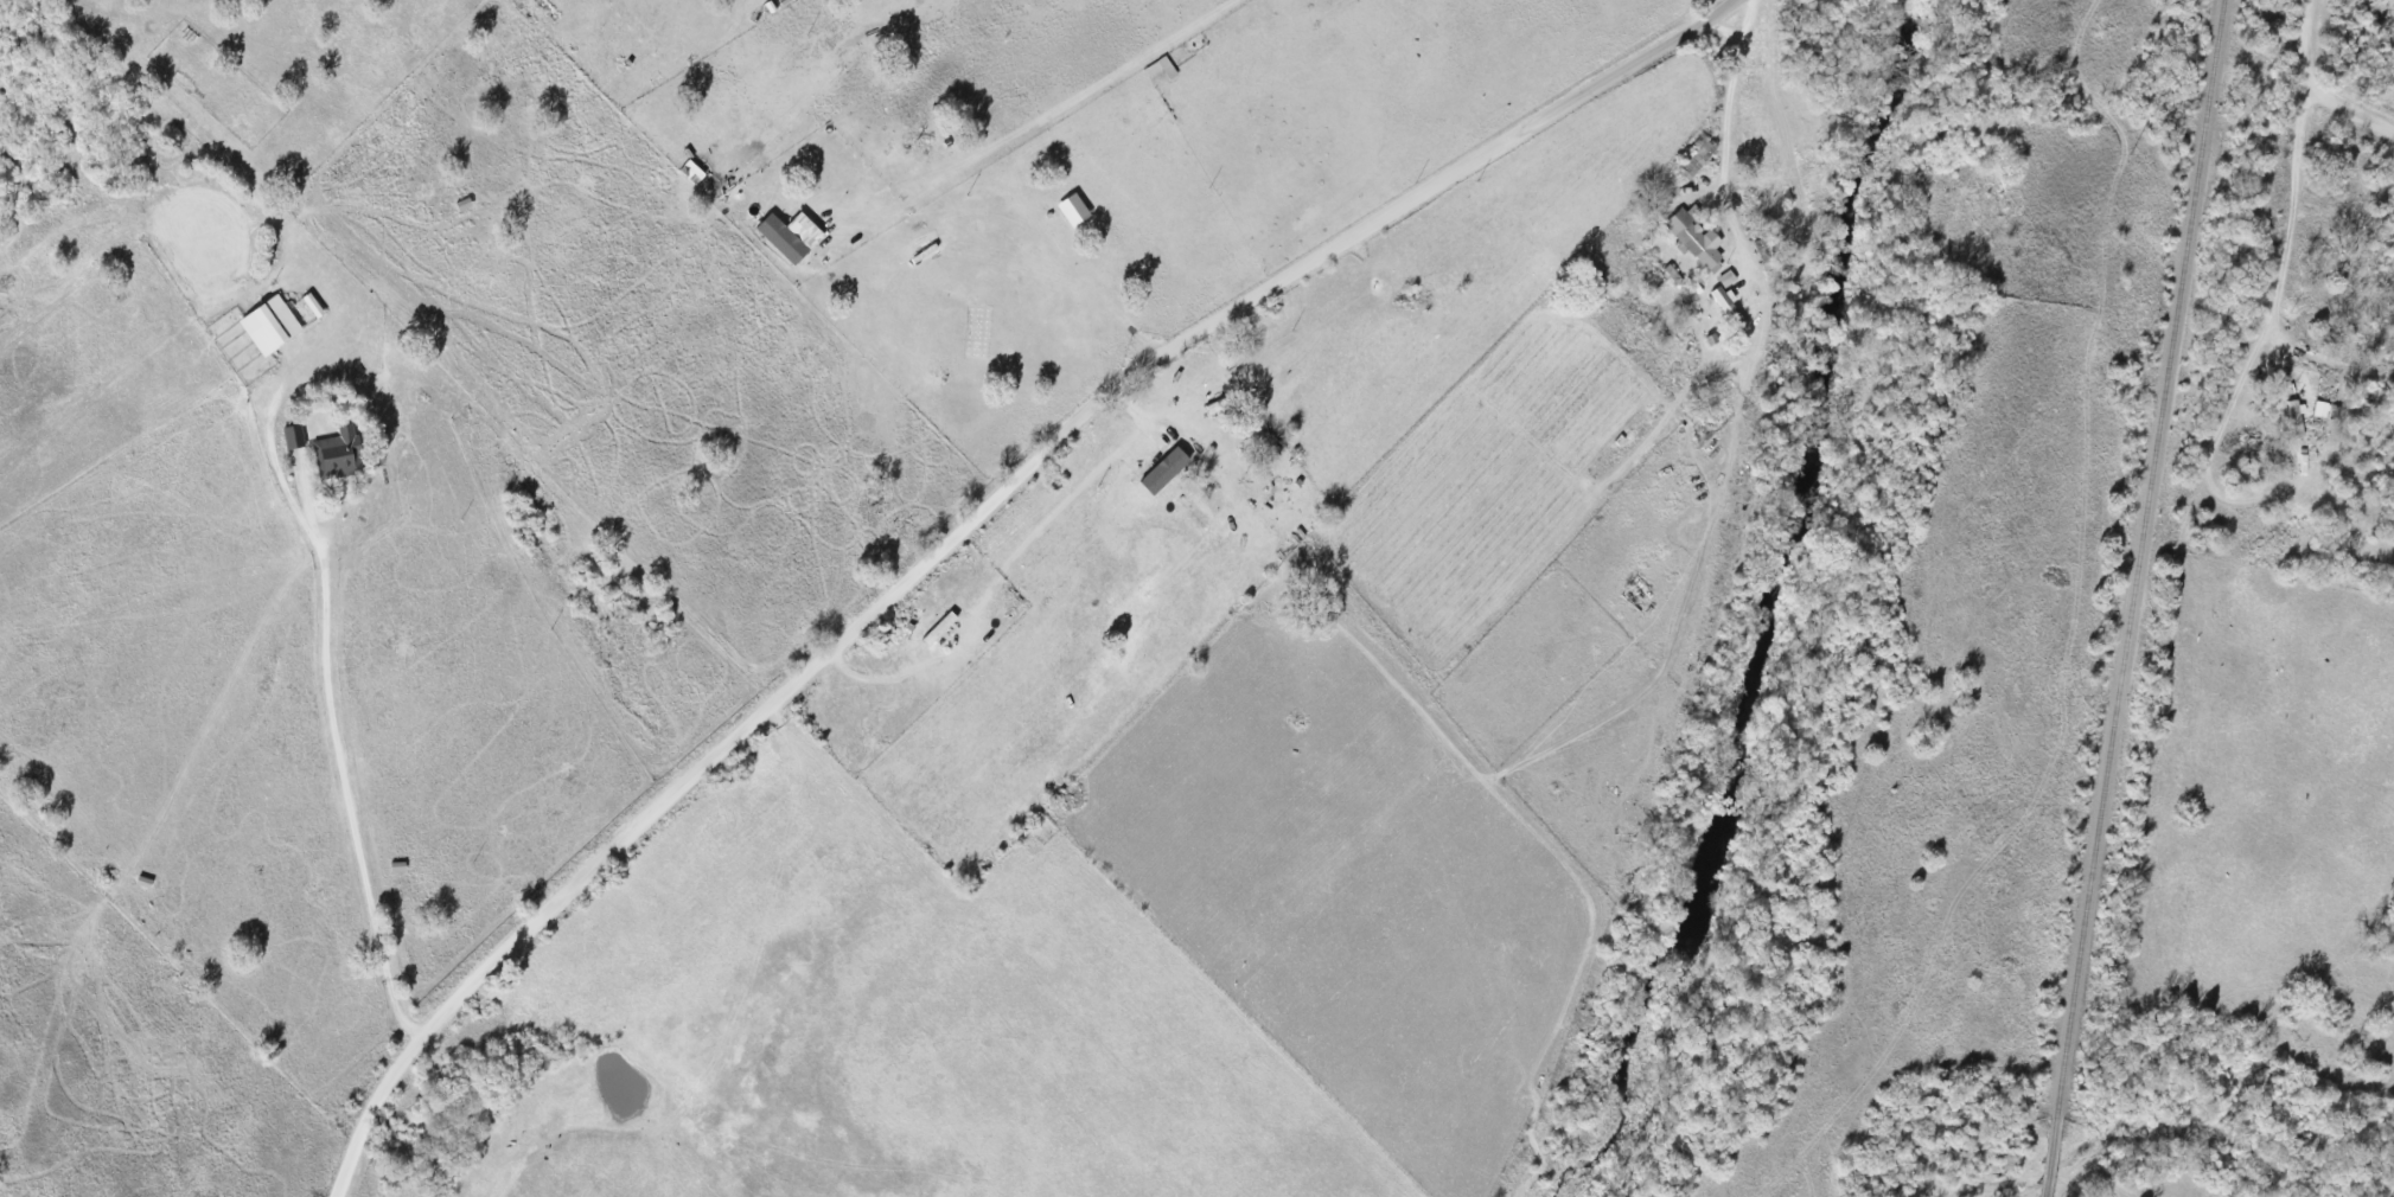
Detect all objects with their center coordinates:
road: (1725, 30)
road: (2313, 87)
road: (1728, 110)
building: (1697, 161)
building: (1073, 210)
road: (2291, 220)
building: (1693, 237)
building: (781, 238)
road: (701, 239)
building: (1726, 279)
building: (1724, 302)
building: (269, 325)
building: (2320, 410)
building: (2294, 418)
building: (293, 437)
building: (338, 450)
road: (970, 527)
railway: (2131, 598)
building: (939, 628)
road: (332, 722)
road: (60, 1142)

